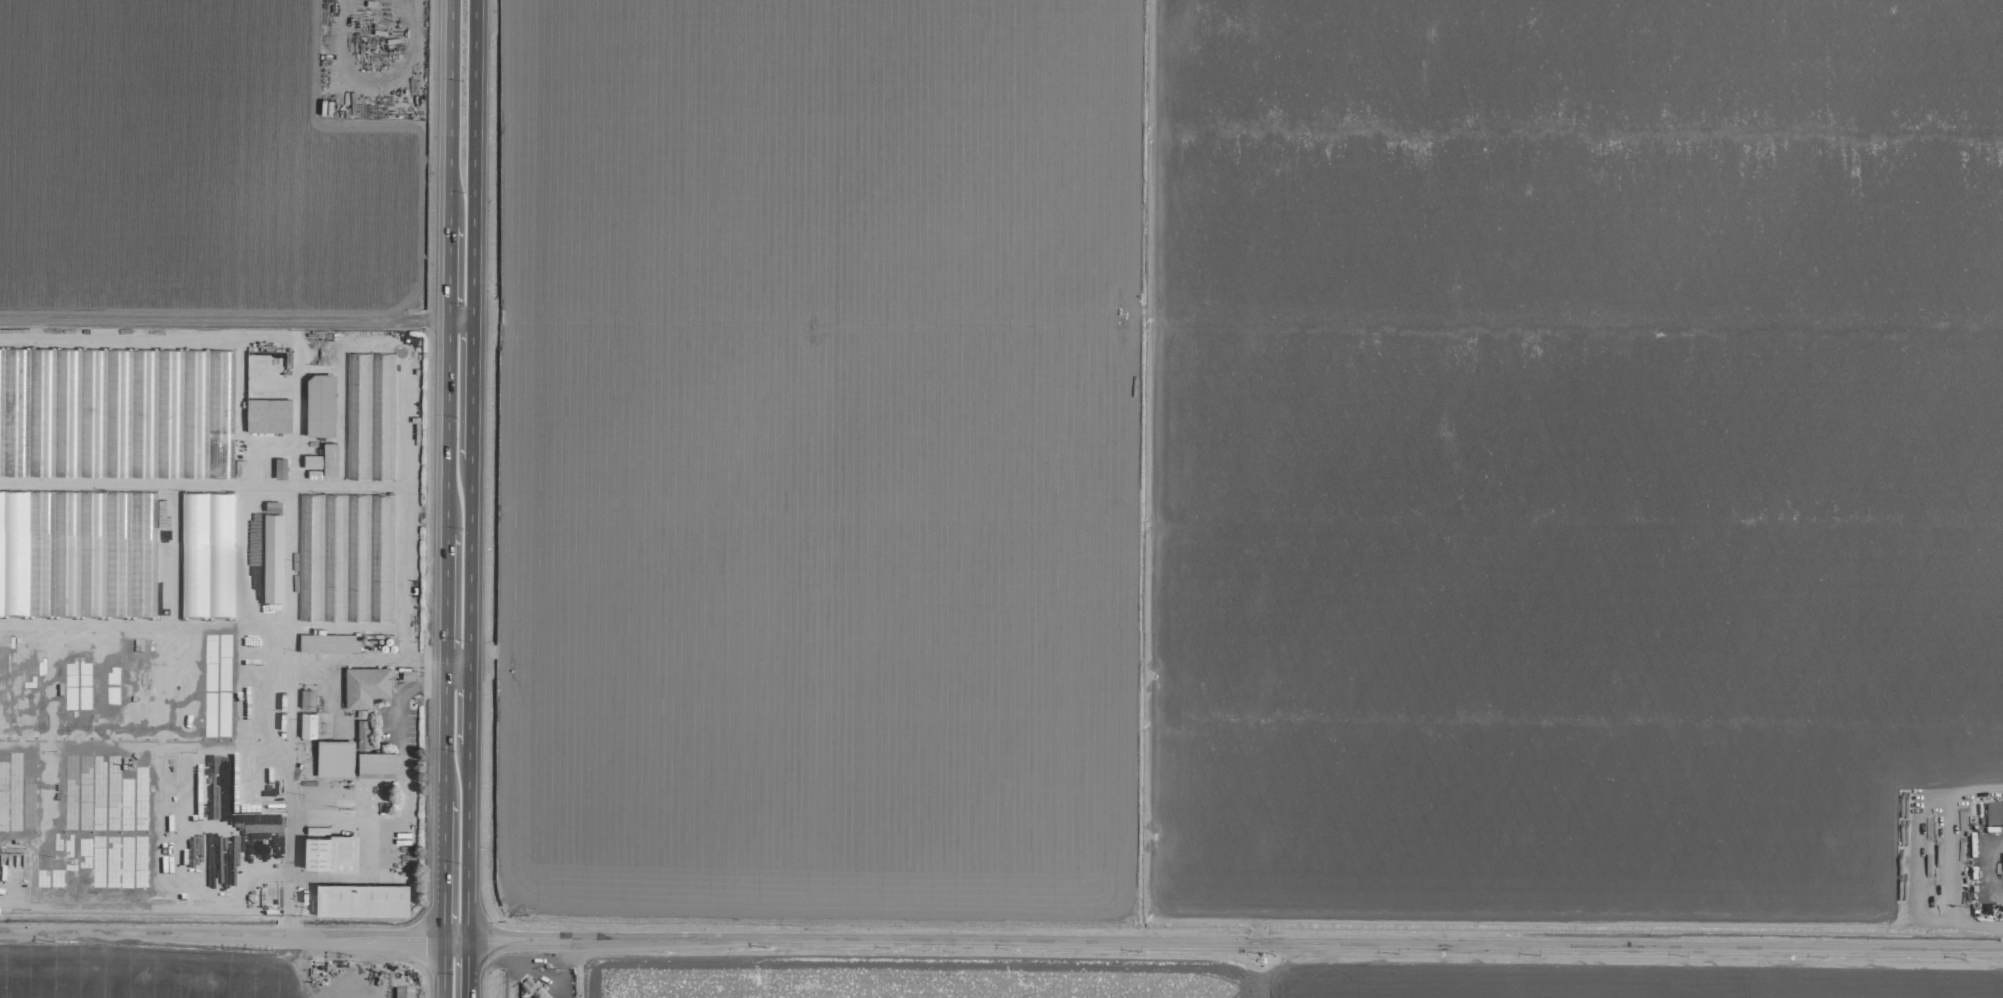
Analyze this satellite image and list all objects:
road: (450, 113)
road: (448, 272)
road: (460, 317)
building: (47, 404)
building: (320, 406)
building: (268, 416)
building: (370, 417)
road: (447, 425)
building: (324, 460)
building: (280, 469)
crop: (989, 469)
road: (470, 470)
building: (273, 558)
building: (346, 559)
road: (445, 595)
road: (295, 640)
building: (329, 644)
road: (457, 657)
road: (445, 670)
road: (415, 671)
road: (457, 683)
building: (365, 696)
building: (307, 699)
building: (308, 726)
road: (445, 743)
road: (146, 746)
building: (335, 759)
building: (376, 764)
building: (1994, 816)
road: (302, 818)
road: (372, 821)
building: (330, 853)
road: (443, 871)
building: (362, 900)
road: (152, 907)
road: (220, 936)
road: (454, 940)
road: (519, 941)
road: (1287, 947)
road: (441, 968)
road: (466, 969)
building: (404, 993)

